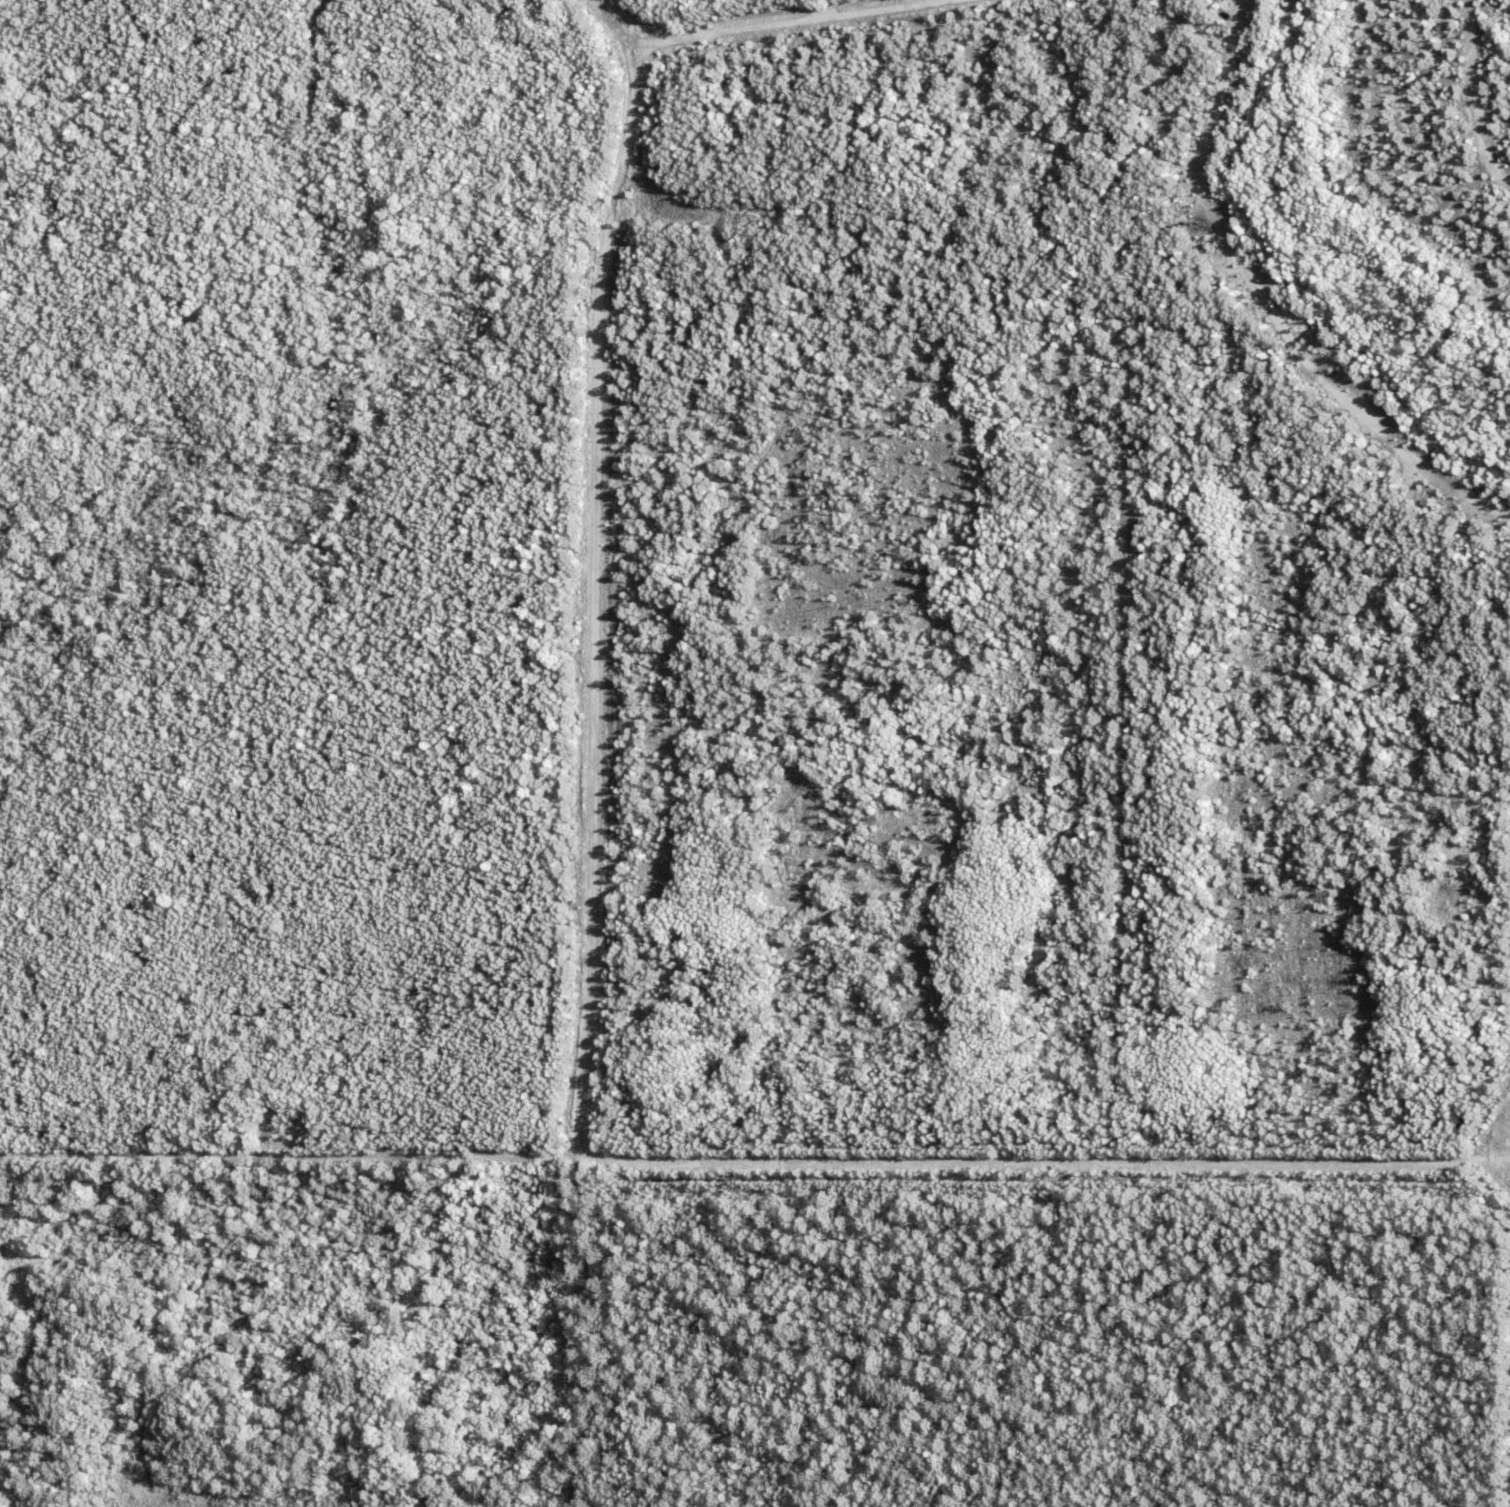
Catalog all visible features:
road: (857, 42)
road: (567, 785)
road: (753, 1202)

